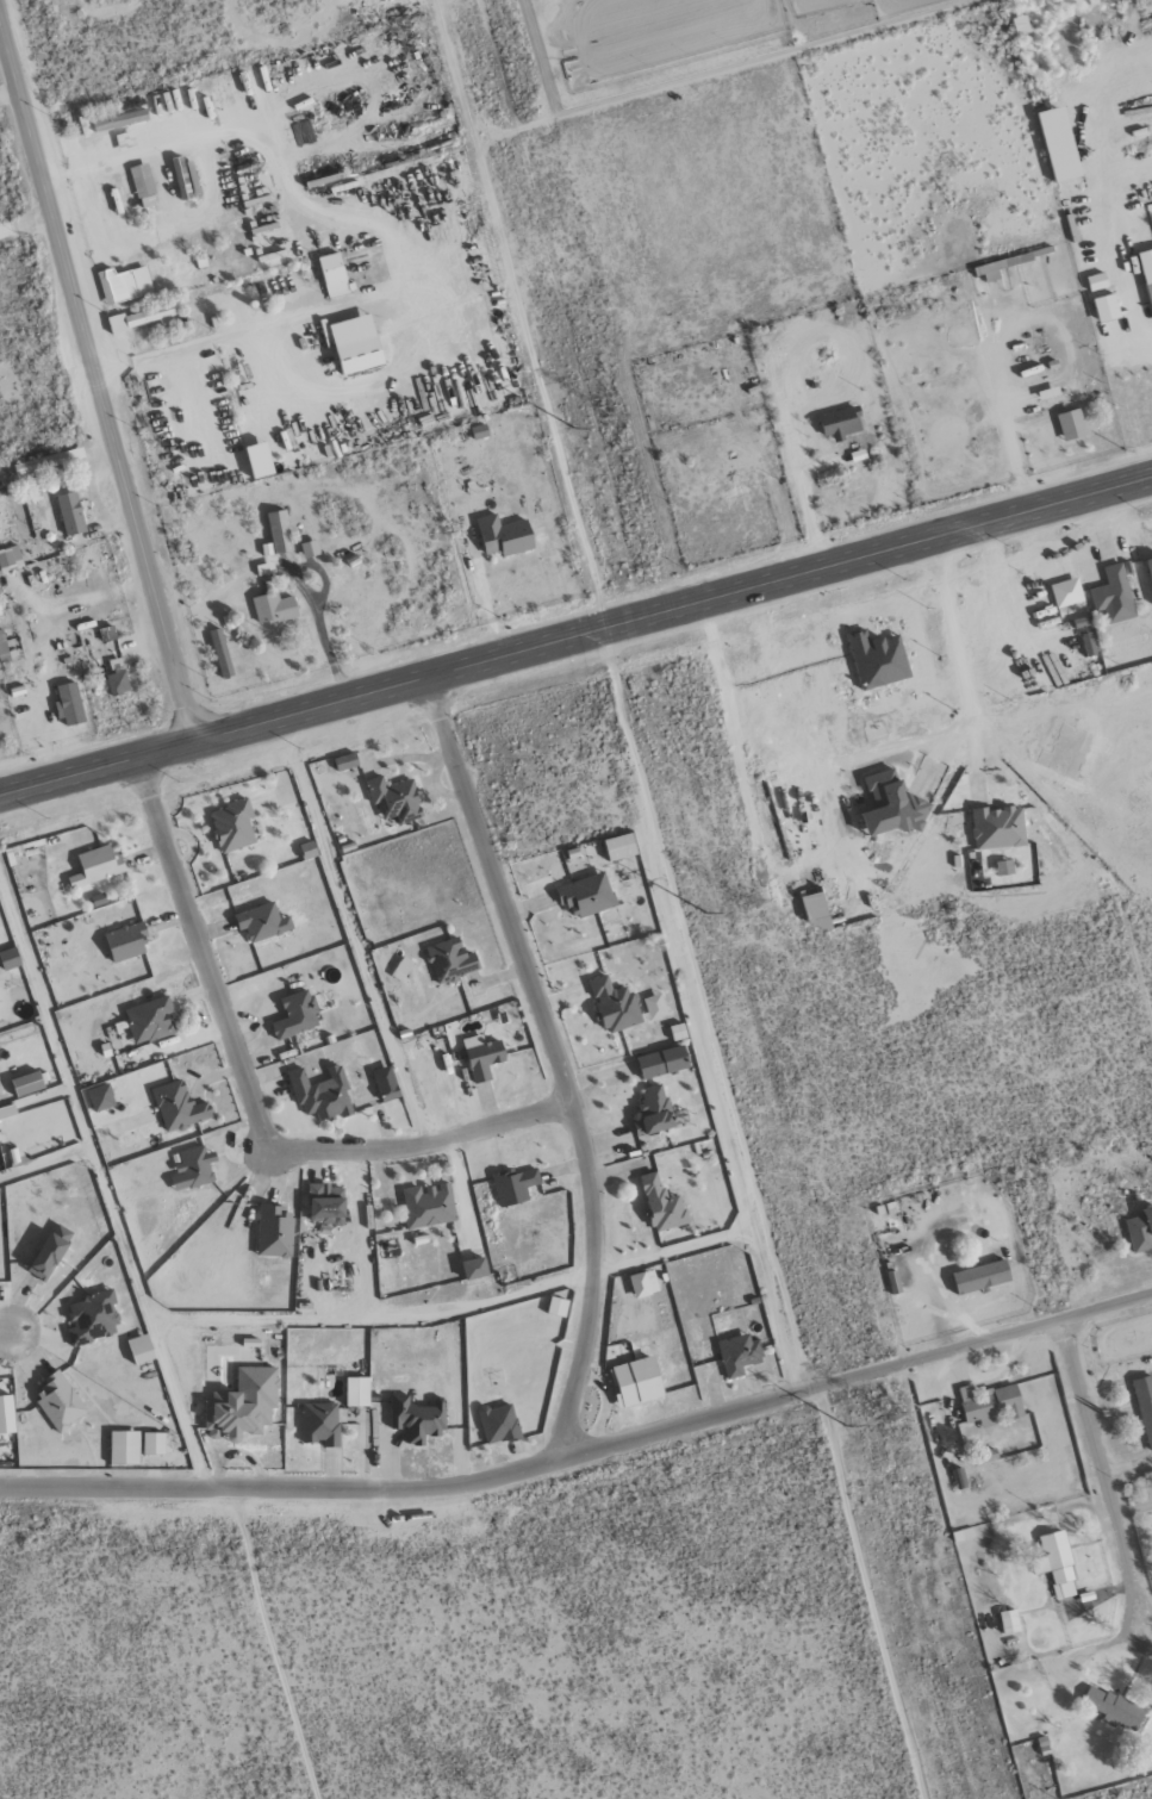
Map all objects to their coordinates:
building: (1060, 144)
building: (186, 179)
building: (143, 186)
road: (375, 226)
building: (1147, 272)
building: (334, 275)
building: (1097, 281)
building: (125, 285)
building: (1107, 309)
building: (143, 318)
building: (357, 344)
road: (99, 388)
power tower: (614, 418)
building: (842, 423)
building: (1072, 425)
power tower: (571, 430)
building: (261, 461)
building: (48, 462)
building: (71, 513)
building: (281, 531)
building: (504, 536)
building: (310, 549)
building: (10, 559)
building: (1150, 566)
building: (1067, 592)
building: (1114, 595)
building: (274, 606)
road: (490, 614)
building: (1088, 645)
building: (4, 650)
road: (575, 650)
building: (222, 654)
road: (952, 654)
building: (879, 659)
building: (118, 678)
building: (71, 704)
building: (1065, 752)
building: (347, 761)
building: (396, 799)
building: (892, 805)
building: (232, 826)
building: (1000, 827)
building: (621, 847)
building: (309, 849)
building: (98, 866)
building: (1005, 867)
building: (587, 895)
power tower: (742, 903)
power tower: (703, 916)
building: (263, 922)
building: (821, 923)
building: (127, 942)
building: (11, 959)
building: (452, 960)
building: (403, 969)
building: (615, 1006)
building: (655, 1007)
building: (297, 1015)
building: (151, 1020)
building: (484, 1057)
building: (662, 1063)
road: (559, 1067)
building: (29, 1083)
building: (387, 1083)
building: (322, 1095)
building: (101, 1097)
road: (253, 1101)
building: (179, 1106)
building: (655, 1110)
building: (7, 1112)
road: (44, 1162)
building: (193, 1168)
road: (104, 1187)
building: (515, 1187)
building: (328, 1204)
building: (662, 1204)
building: (429, 1206)
building: (1140, 1231)
building: (275, 1232)
building: (52, 1252)
building: (477, 1269)
building: (982, 1277)
building: (645, 1284)
building: (558, 1307)
building: (93, 1319)
road: (363, 1319)
road: (4, 1332)
building: (142, 1349)
building: (740, 1355)
building: (637, 1382)
building: (357, 1392)
building: (60, 1403)
building: (992, 1405)
building: (243, 1406)
building: (1145, 1406)
road: (1082, 1408)
building: (7, 1414)
power tower: (889, 1415)
building: (417, 1419)
building: (320, 1424)
building: (499, 1424)
power tower: (843, 1427)
building: (155, 1444)
building: (125, 1448)
road: (584, 1451)
building: (151, 1461)
building: (1056, 1564)
building: (1009, 1621)
building: (1114, 1708)

